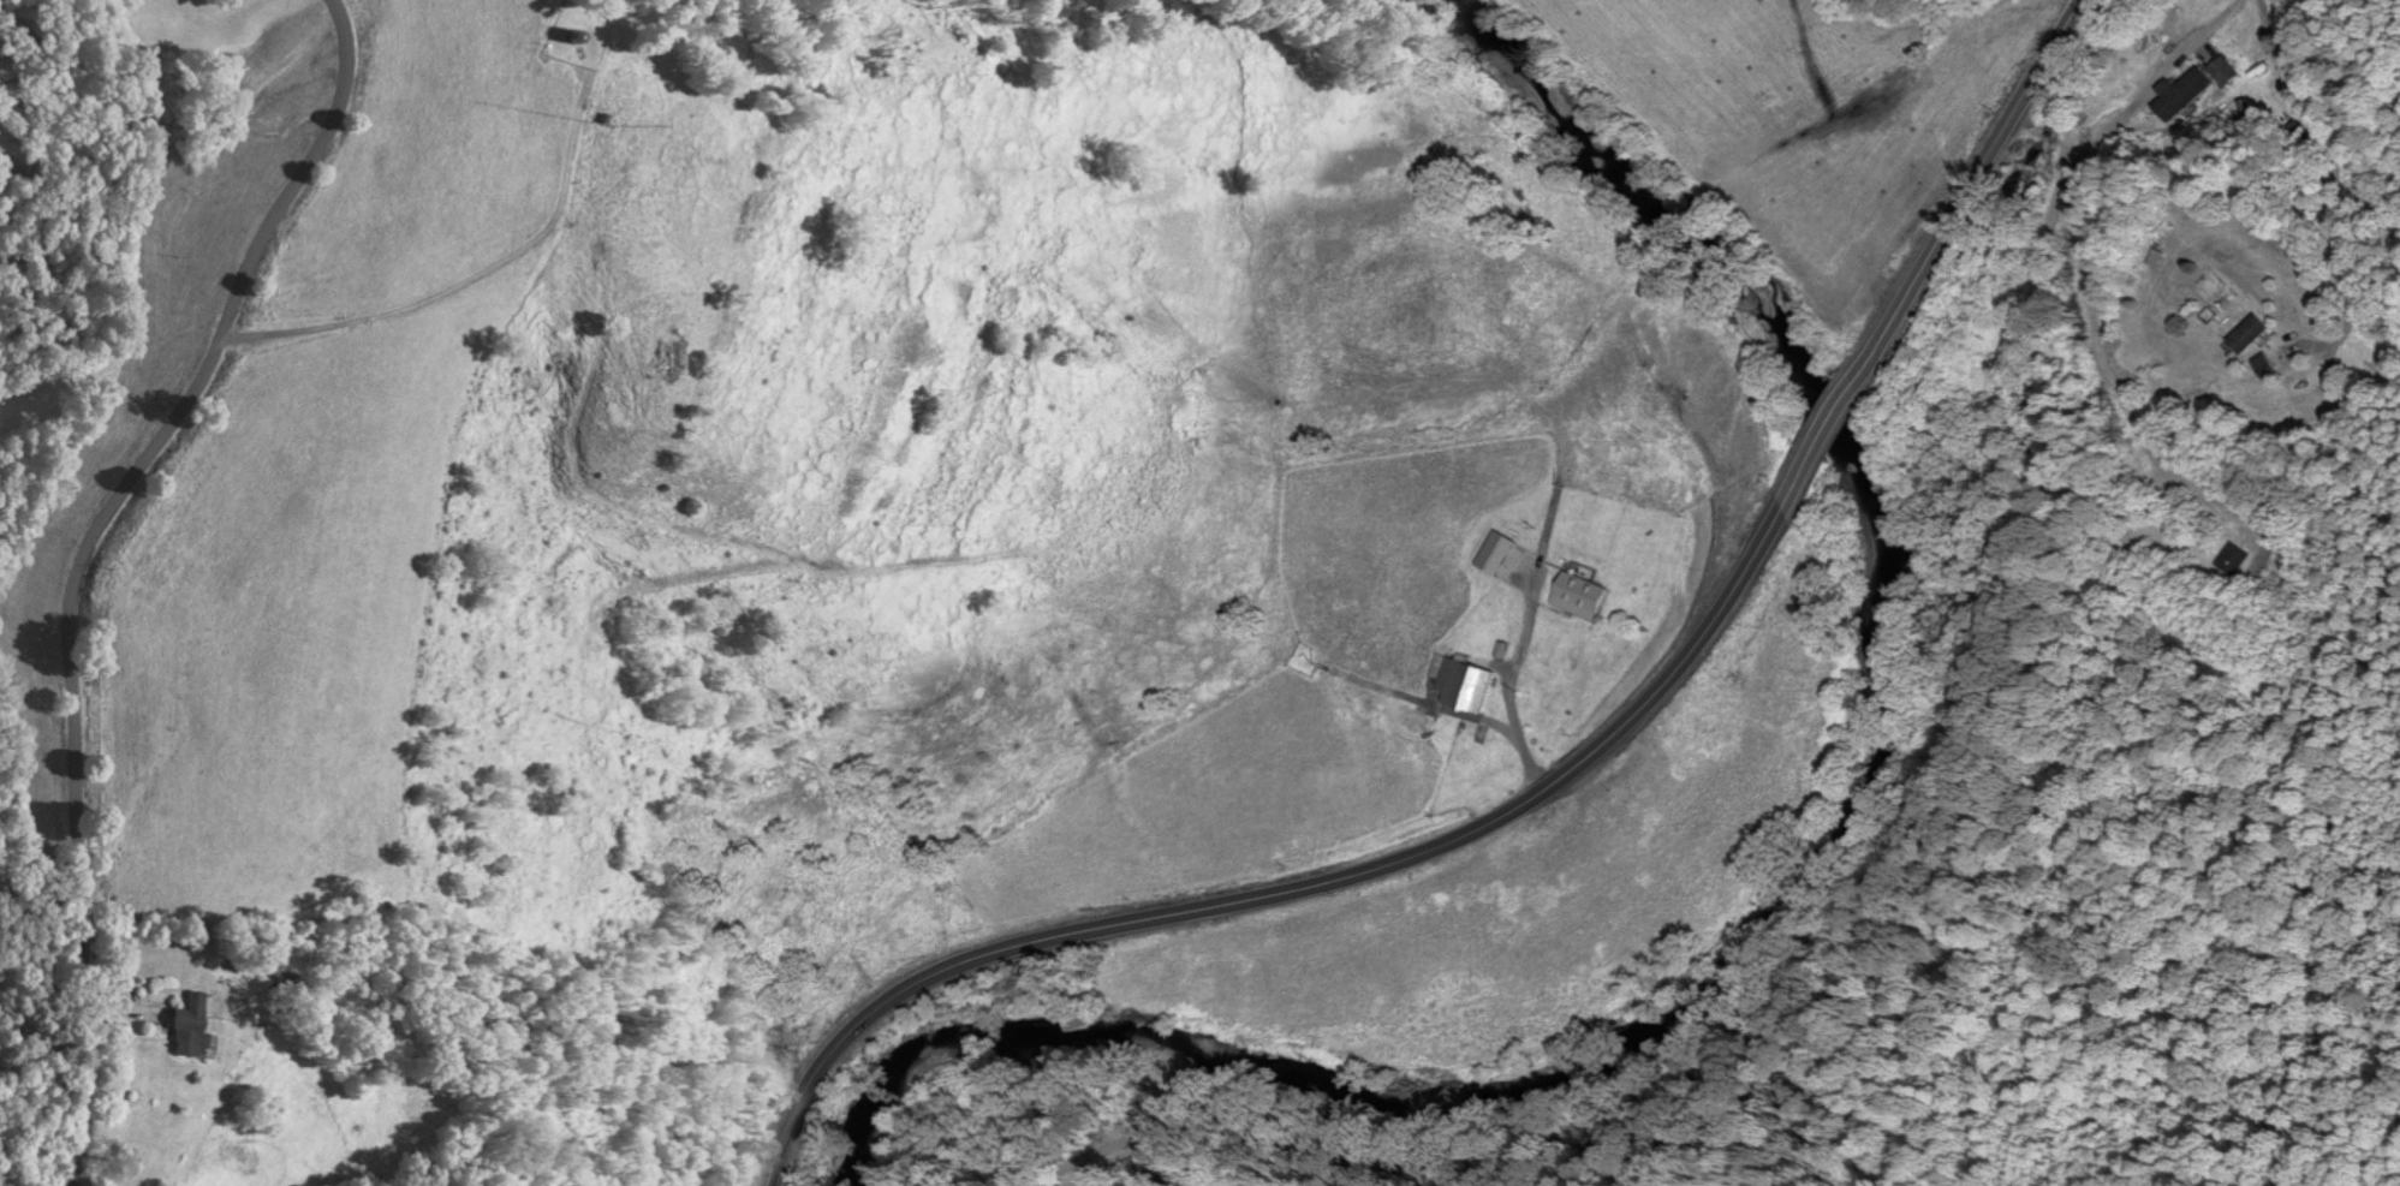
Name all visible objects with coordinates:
building: (2209, 84)
road: (2158, 131)
road: (1971, 183)
road: (2162, 320)
building: (2251, 335)
building: (666, 359)
road: (1821, 441)
road: (79, 555)
building: (2235, 561)
building: (1584, 597)
building: (1471, 686)
road: (1906, 813)
road: (1290, 892)
river: (1780, 905)
building: (191, 1029)

